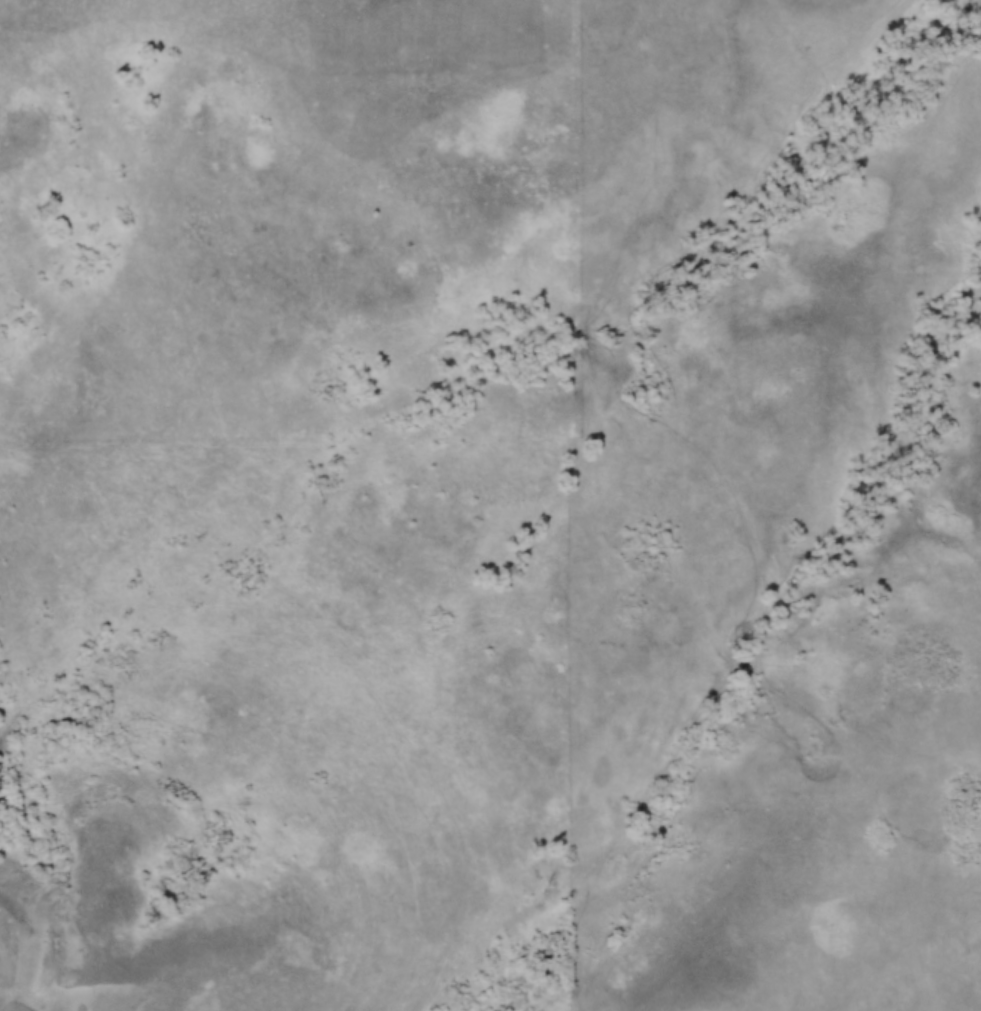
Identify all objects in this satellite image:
quarry: (64, 959)

